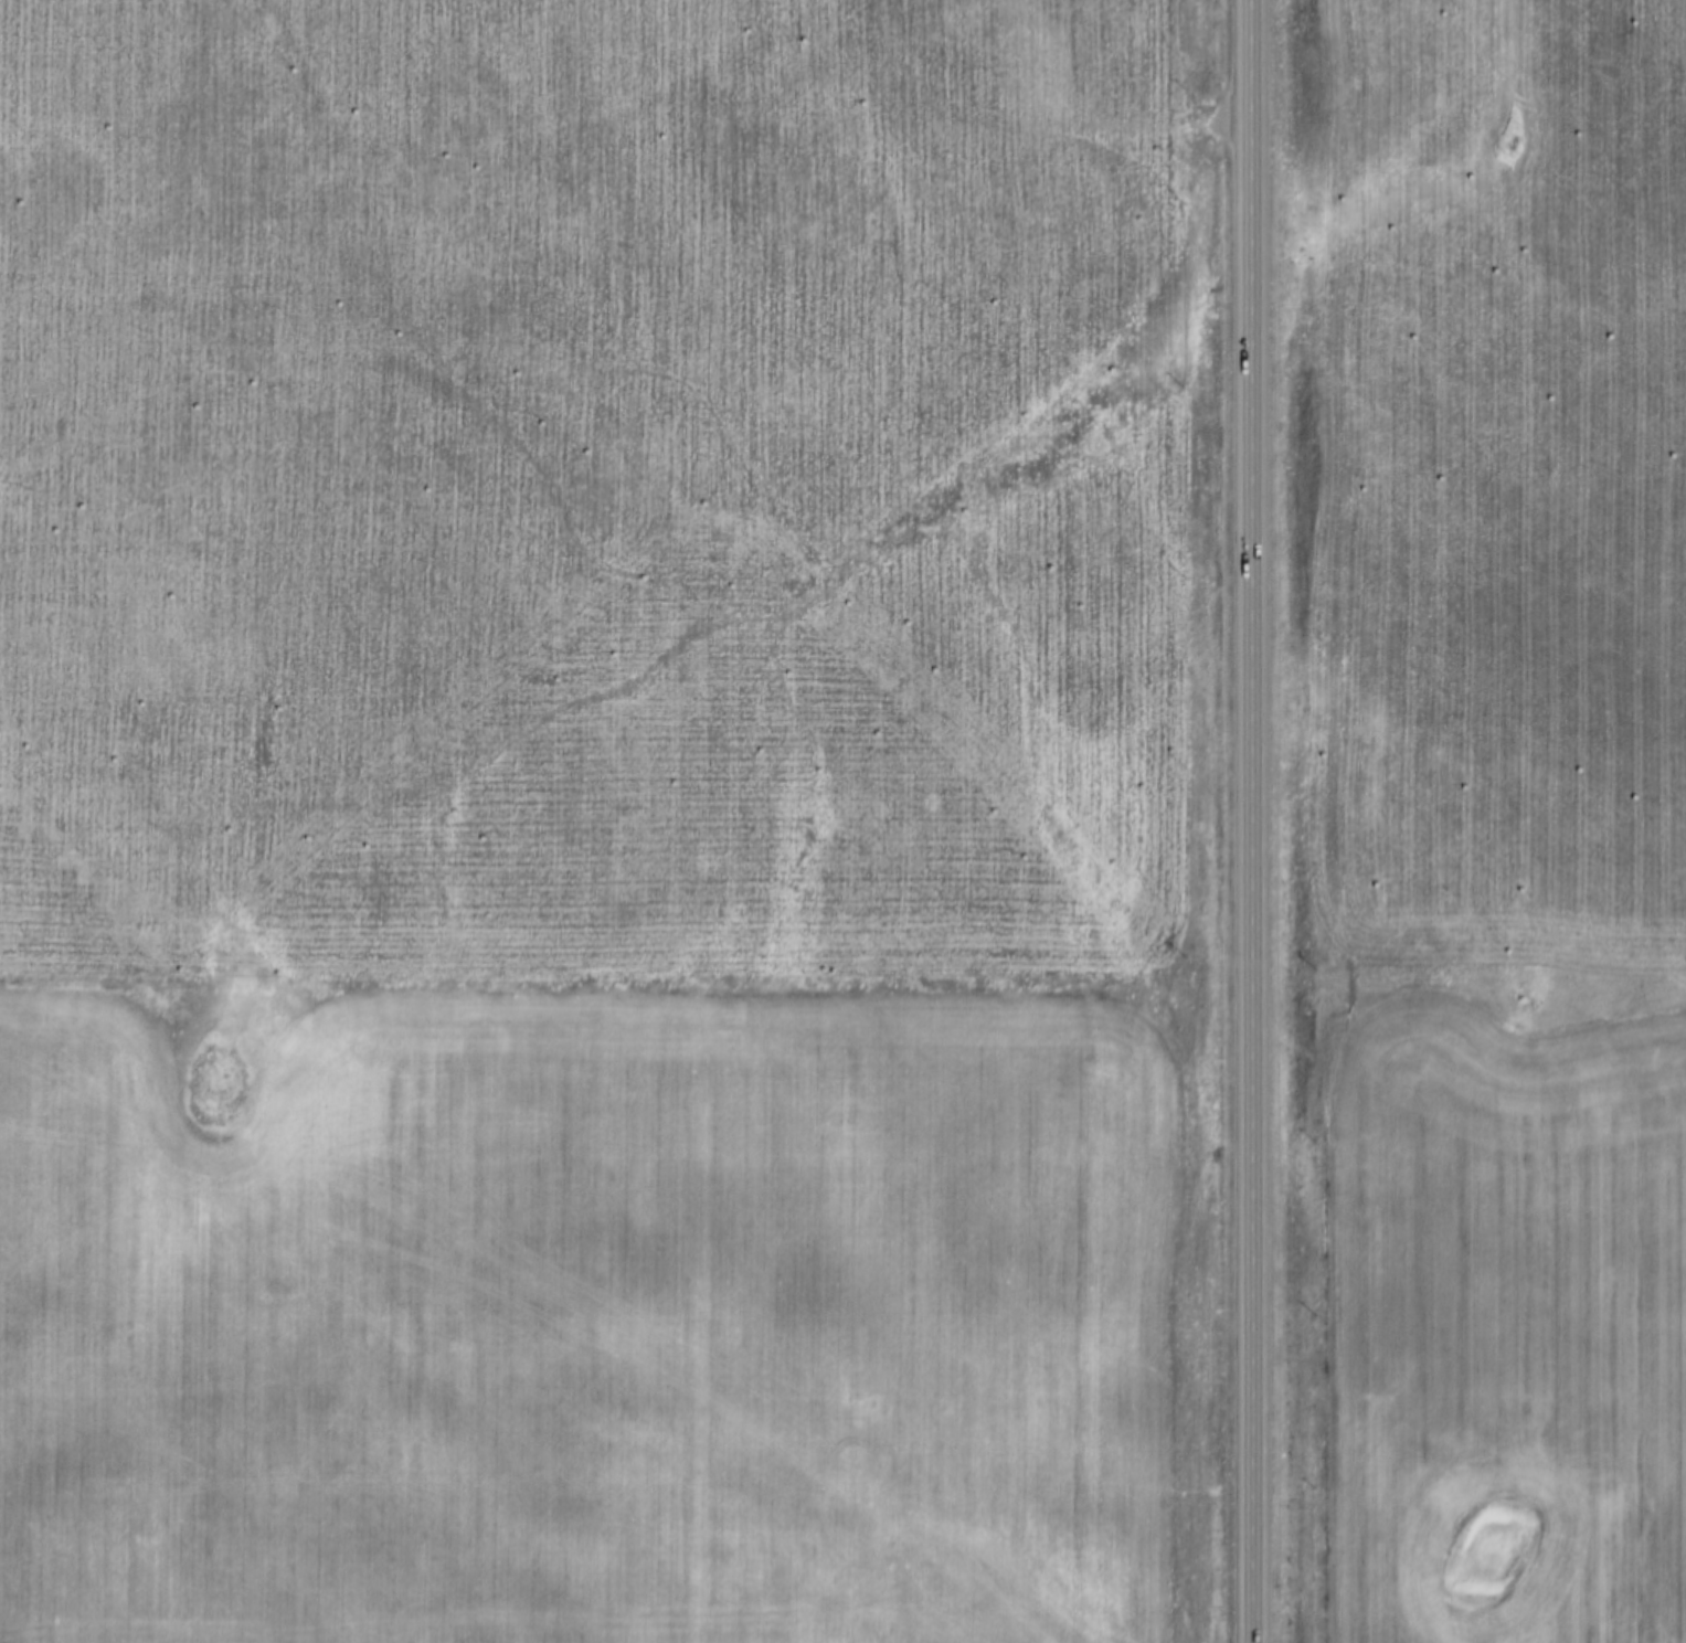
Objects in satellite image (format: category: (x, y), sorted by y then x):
road: (1252, 820)

